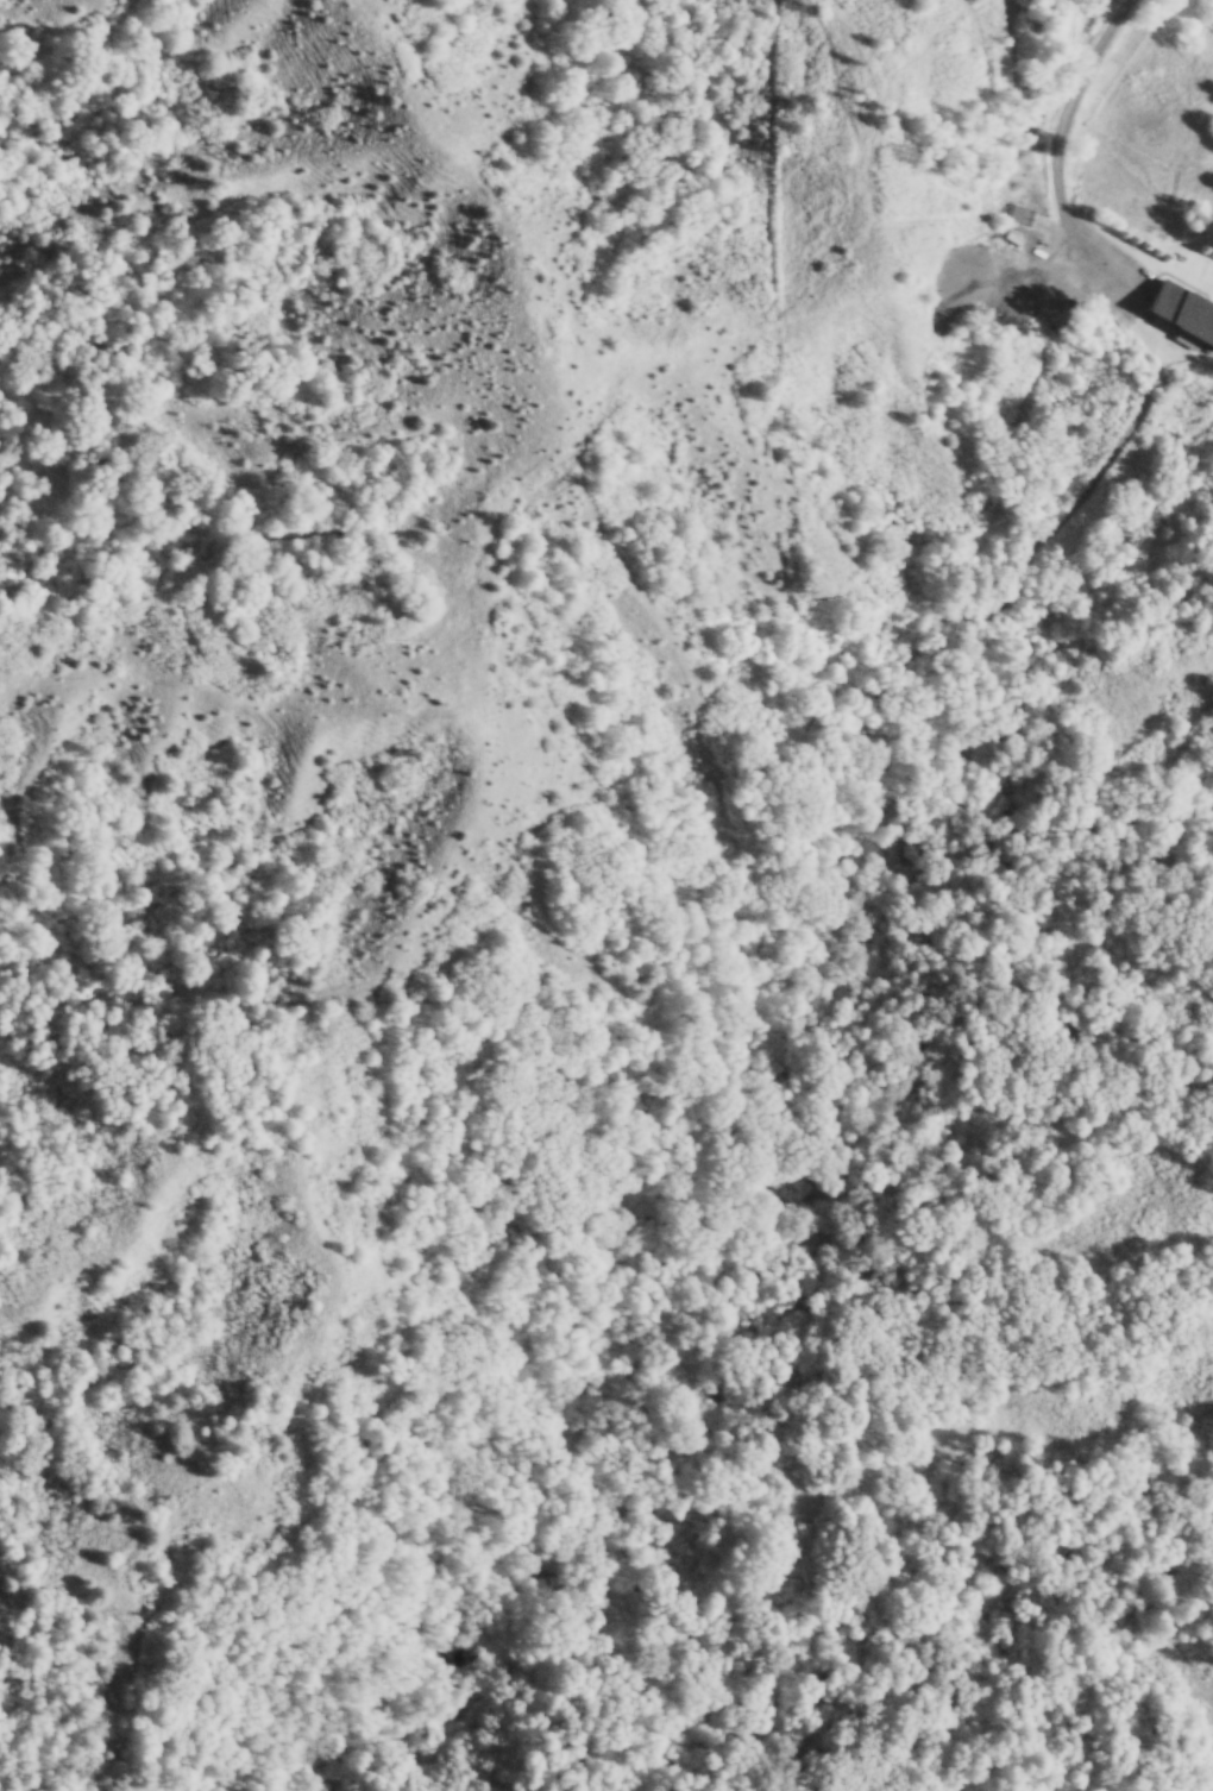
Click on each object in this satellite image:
road: (1055, 143)
building: (1023, 247)
building: (1177, 310)

